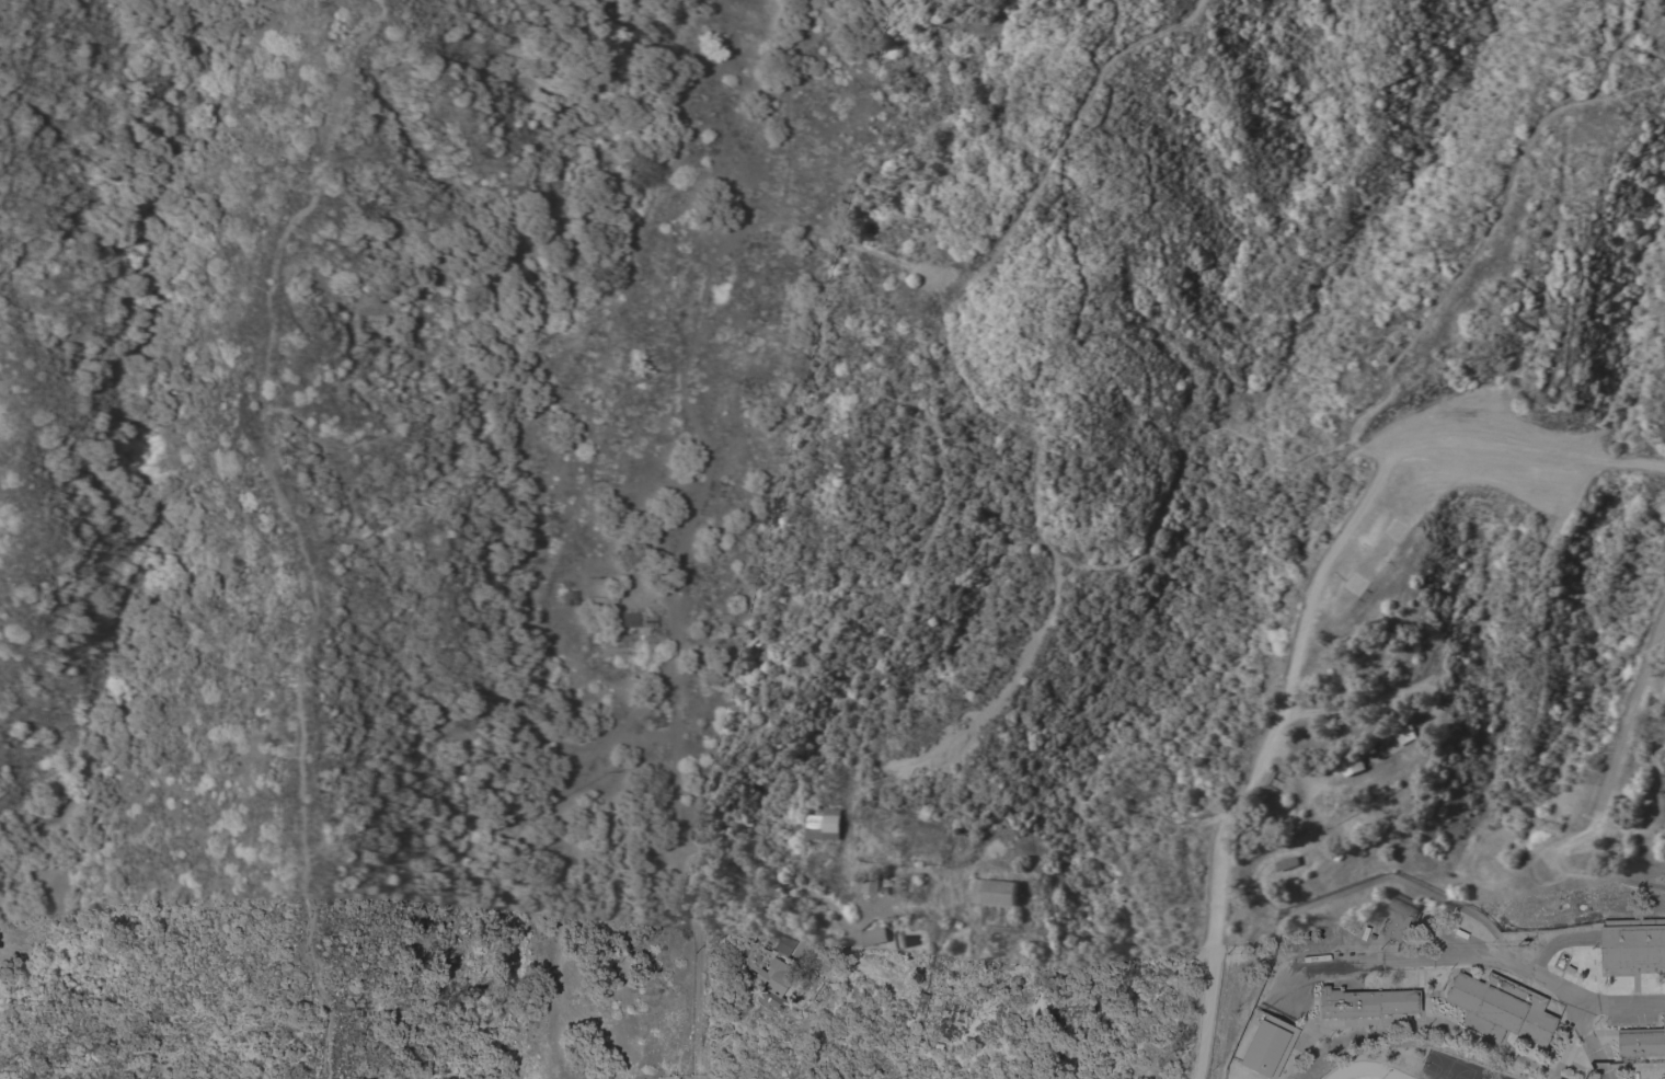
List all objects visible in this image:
road: (789, 101)
road: (1070, 123)
road: (690, 523)
park: (1479, 574)
building: (570, 597)
building: (638, 620)
road: (1048, 620)
road: (1305, 629)
building: (1406, 734)
building: (1369, 749)
road: (1620, 753)
building: (1353, 765)
road: (292, 766)
building: (827, 825)
building: (804, 859)
building: (1289, 863)
building: (1035, 877)
road: (1605, 877)
building: (871, 884)
road: (1416, 886)
building: (997, 893)
road: (918, 908)
building: (1031, 911)
building: (1400, 919)
building: (875, 935)
building: (780, 942)
building: (1632, 945)
building: (1001, 950)
road: (1483, 960)
building: (783, 985)
building: (820, 991)
building: (1366, 1003)
building: (1501, 1009)
building: (951, 1019)
road: (1586, 1040)
building: (1641, 1042)
building: (1268, 1046)

